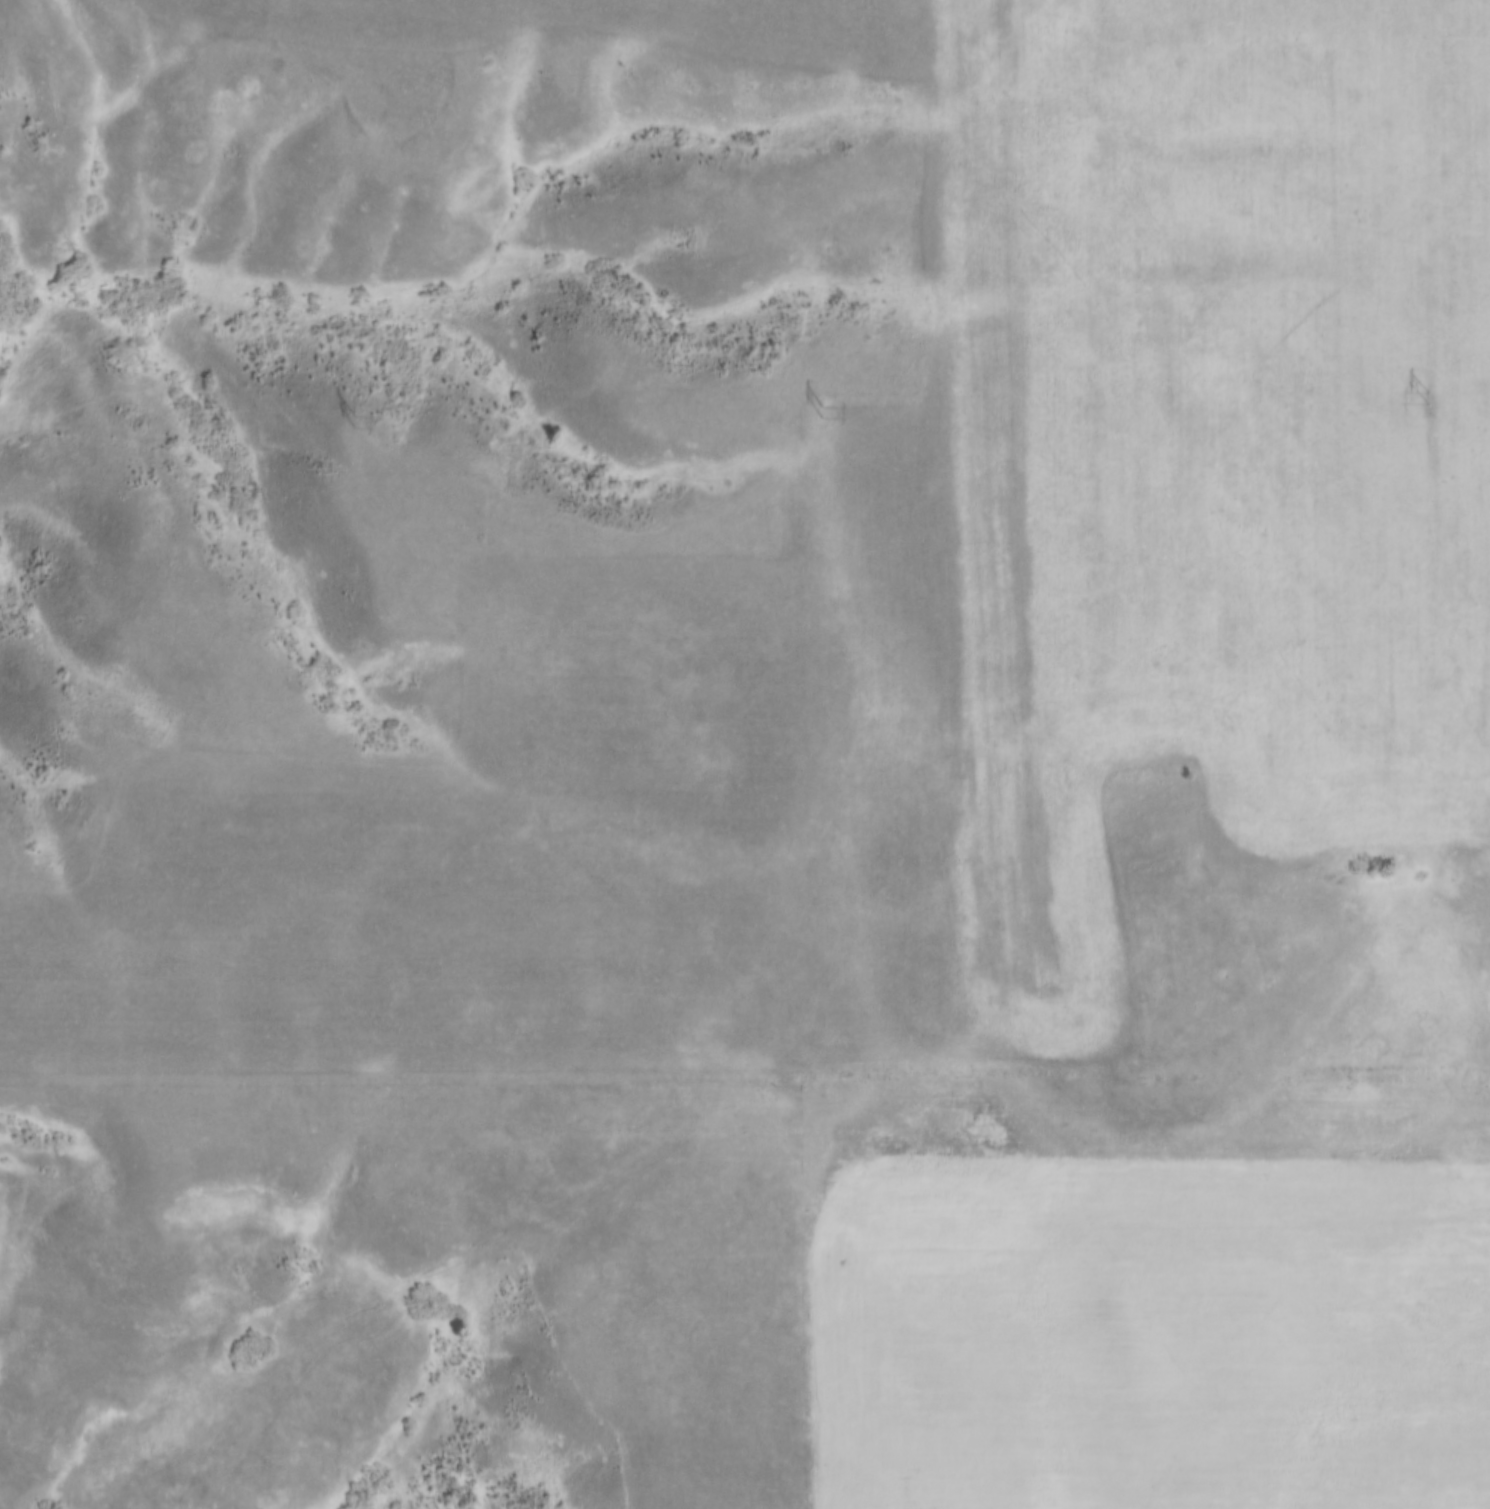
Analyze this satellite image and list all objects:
road: (1274, 1131)

